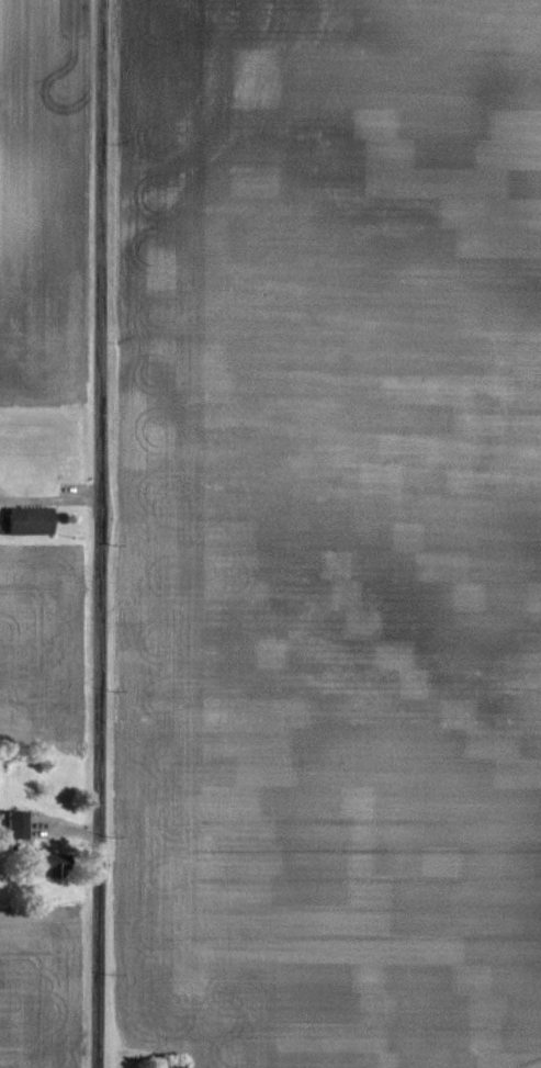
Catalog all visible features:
road: (48, 499)
road: (97, 533)
building: (18, 824)
building: (57, 865)

